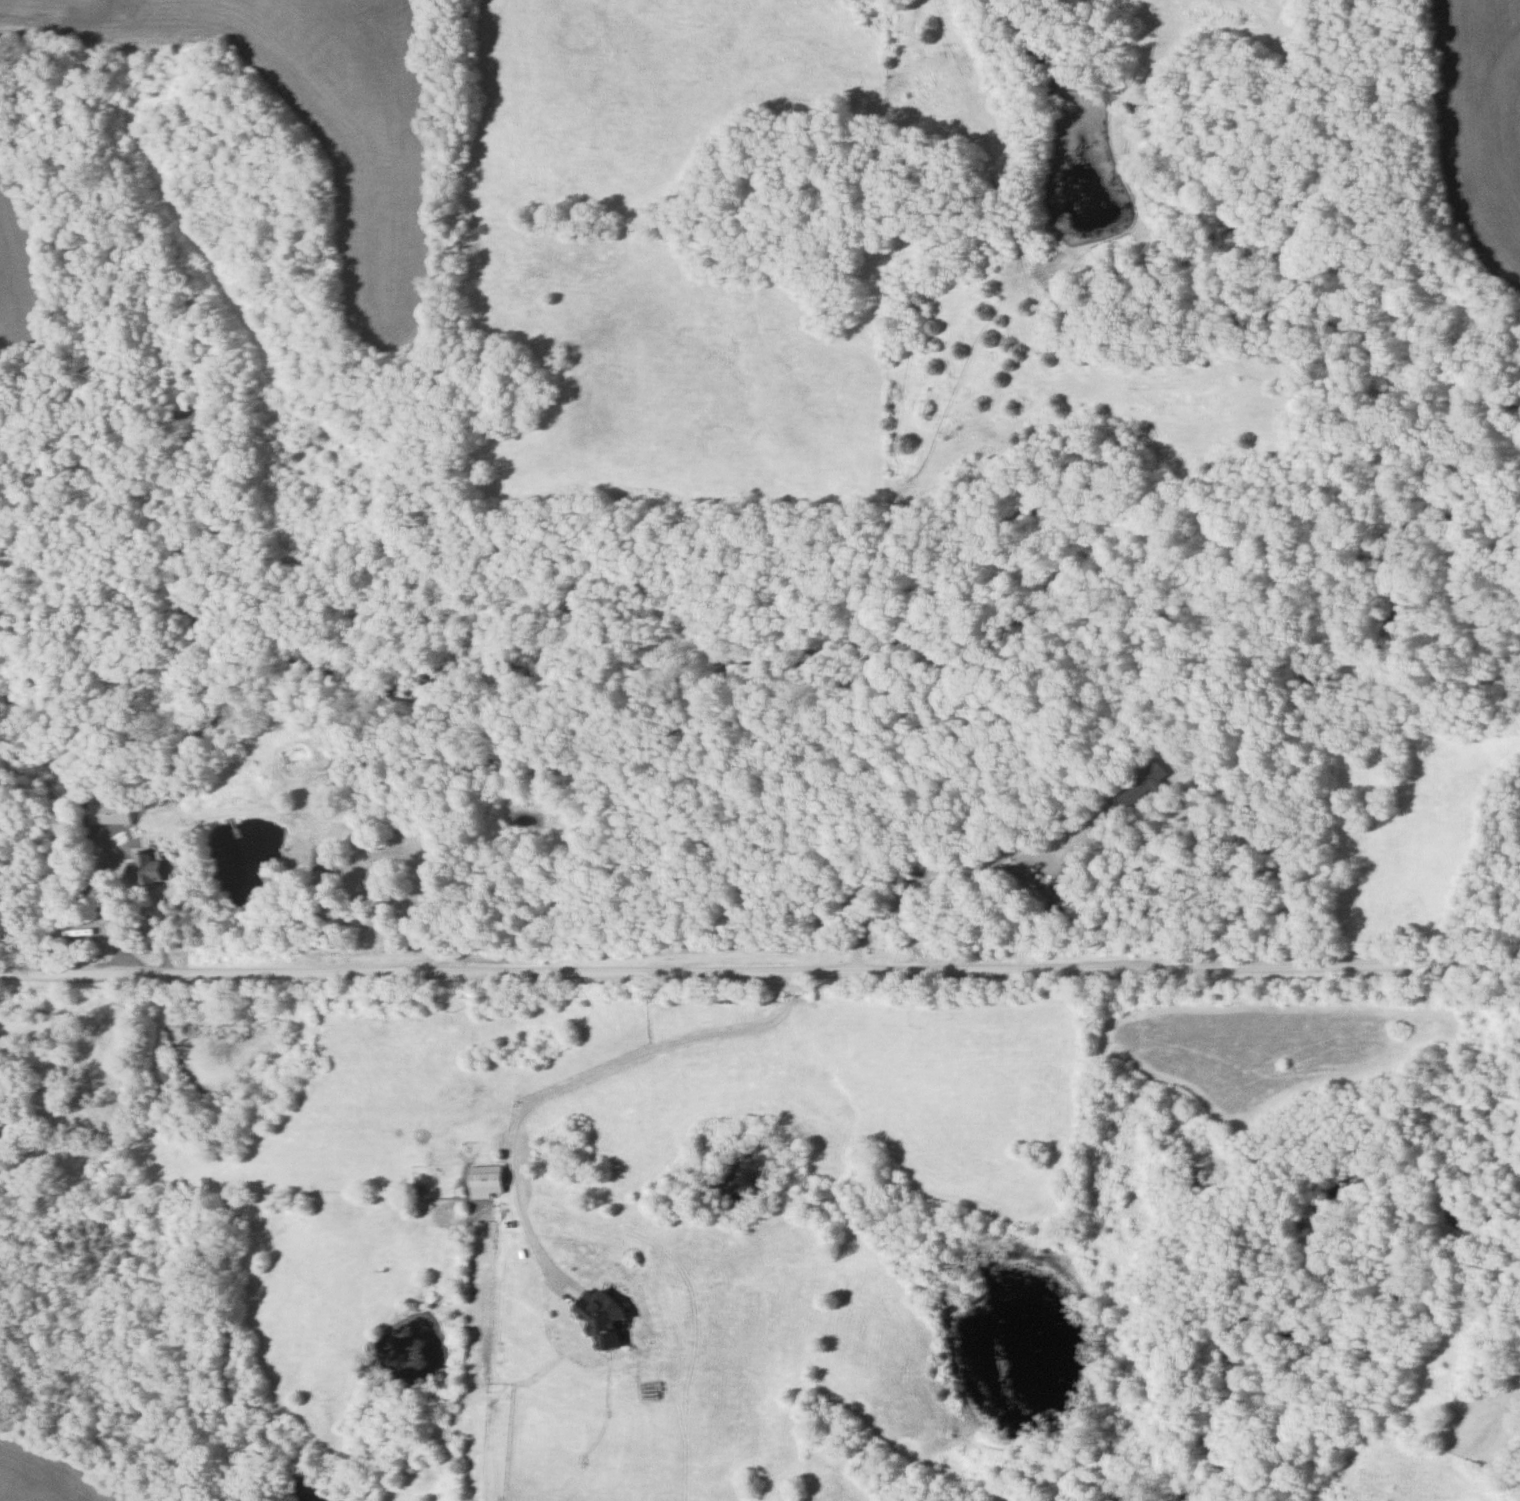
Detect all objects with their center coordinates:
building: (1146, 784)
road: (962, 858)
building: (152, 868)
road: (112, 911)
road: (760, 971)
road: (583, 1077)
building: (4, 1140)
building: (487, 1182)

